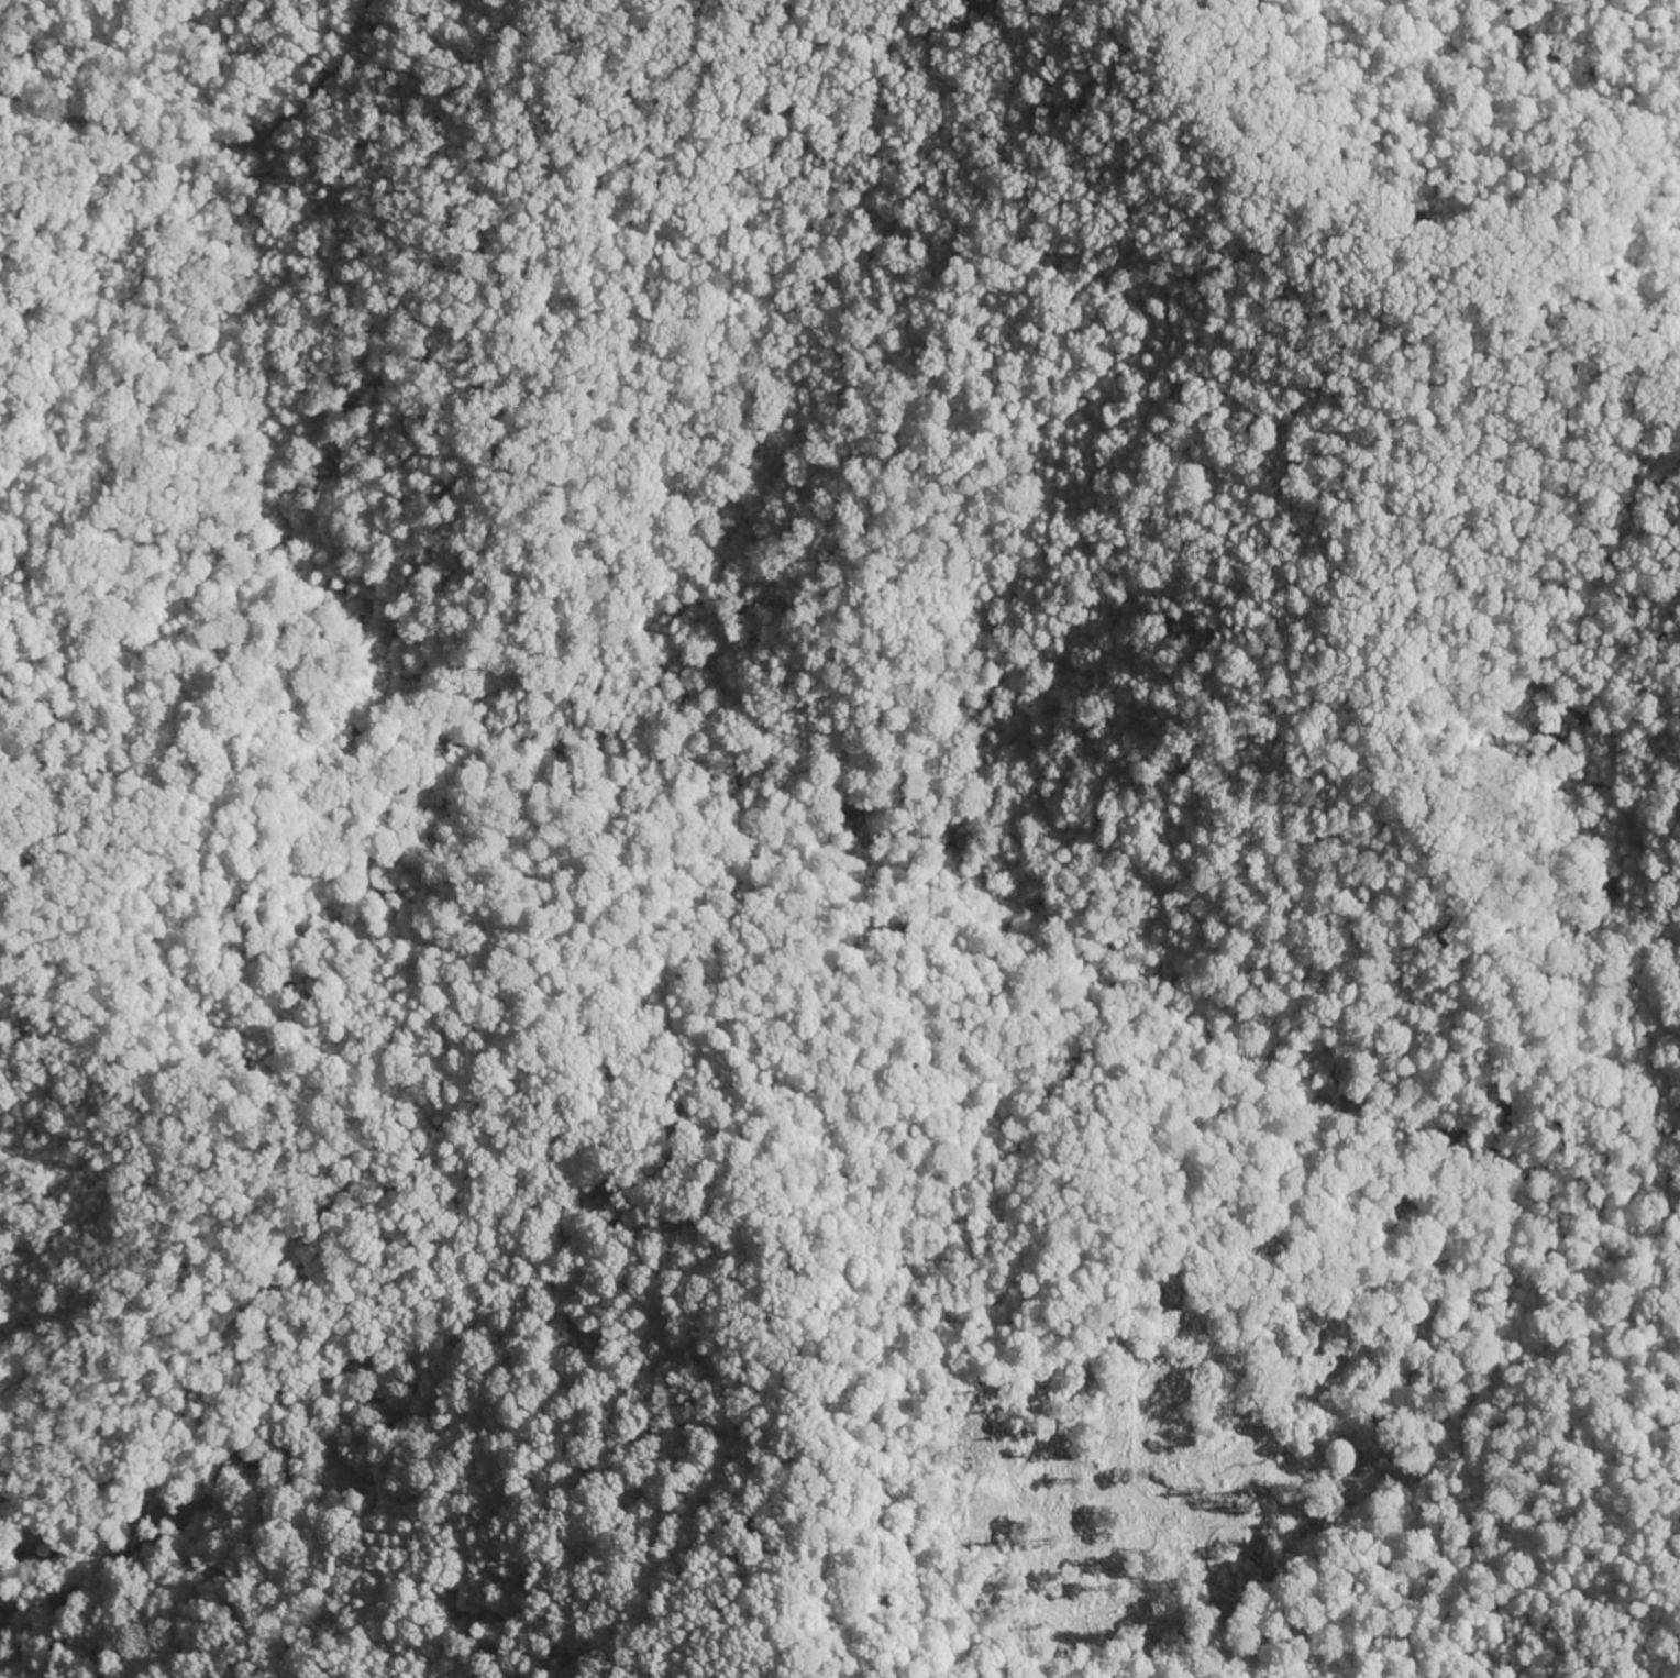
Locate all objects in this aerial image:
road: (1587, 66)
road: (215, 145)

